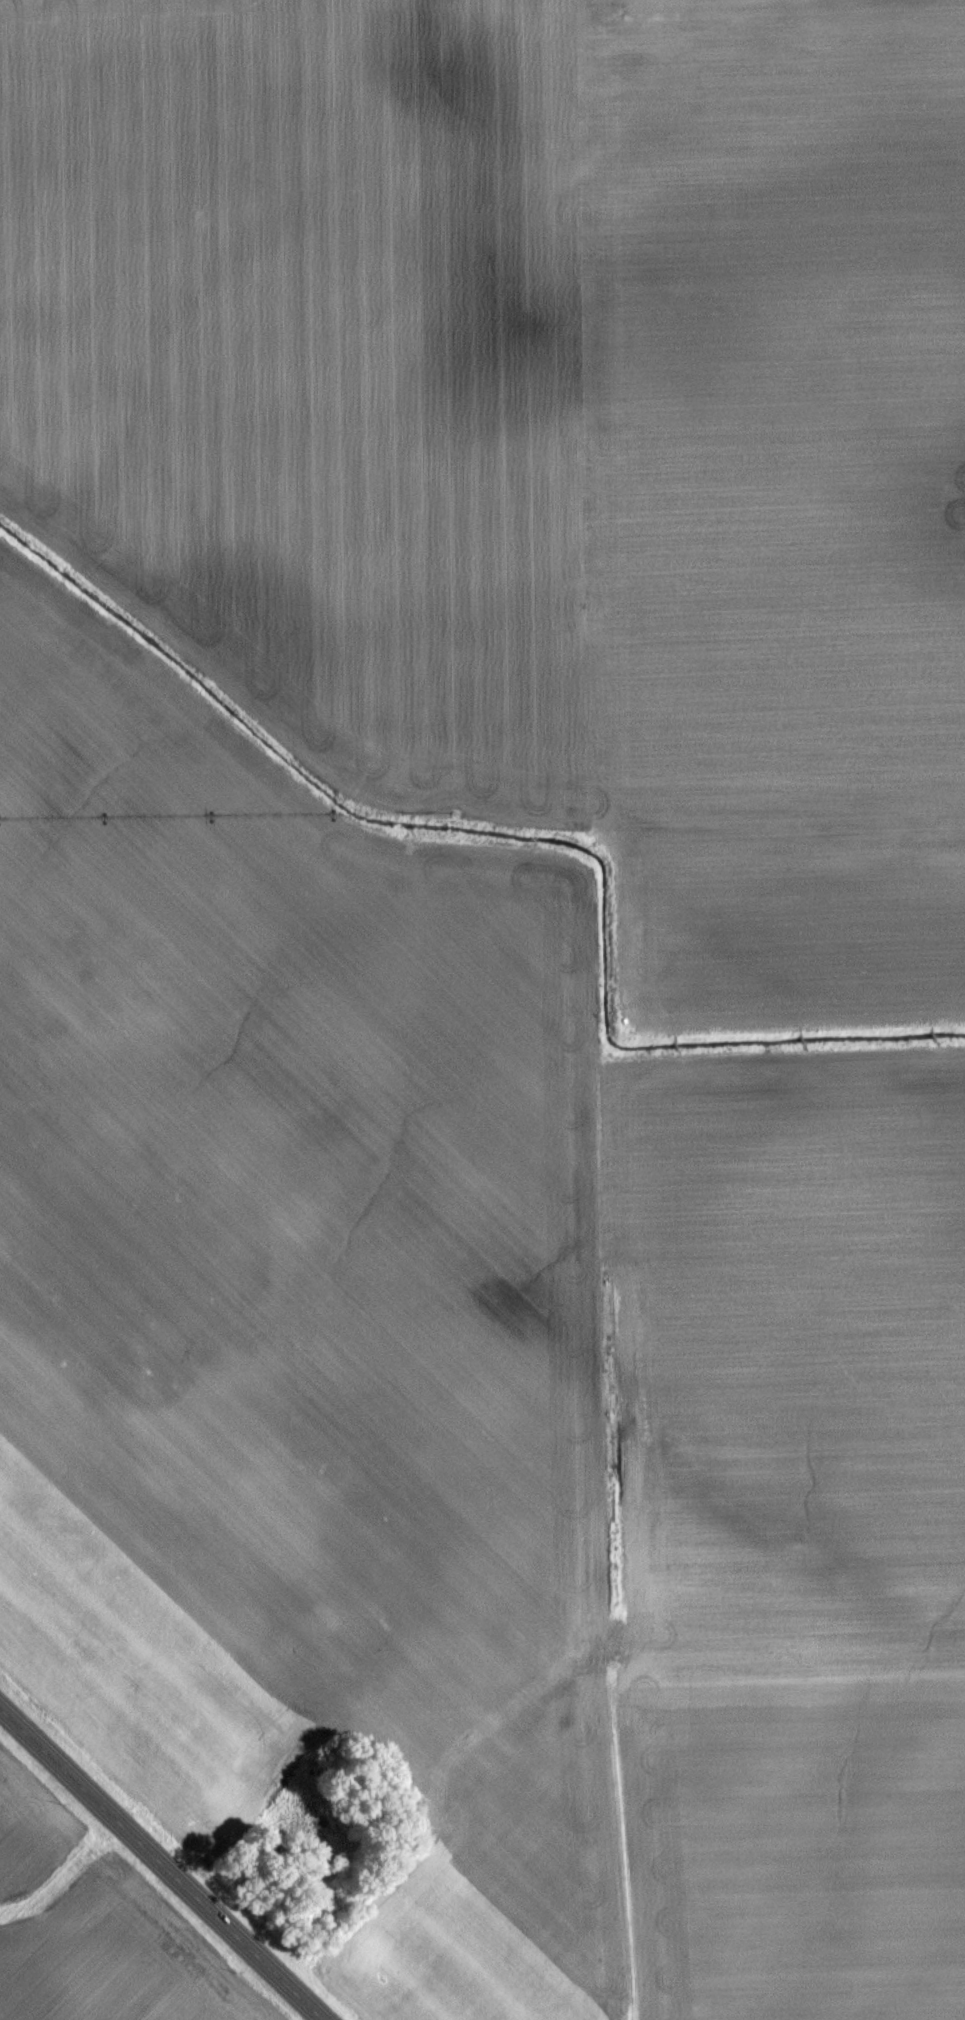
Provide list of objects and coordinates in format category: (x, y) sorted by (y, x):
road: (163, 1862)

